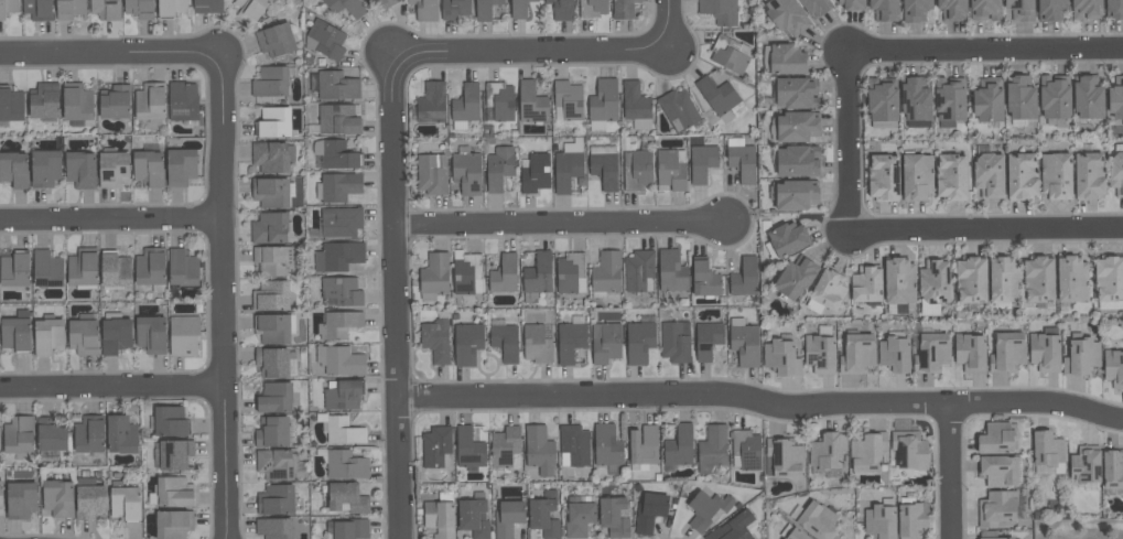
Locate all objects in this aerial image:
building: (382, 3)
building: (852, 4)
building: (207, 7)
building: (346, 7)
building: (816, 7)
building: (8, 8)
building: (139, 8)
building: (171, 8)
building: (519, 8)
building: (37, 9)
building: (69, 9)
building: (106, 9)
building: (424, 9)
building: (454, 9)
building: (485, 9)
building: (561, 9)
building: (592, 9)
building: (623, 9)
building: (951, 9)
building: (1087, 9)
building: (1114, 9)
building: (250, 10)
building: (884, 10)
building: (914, 10)
building: (984, 10)
building: (1021, 10)
building: (1051, 10)
building: (719, 11)
building: (786, 15)
road: (670, 25)
building: (276, 40)
building: (325, 40)
road: (985, 50)
road: (529, 51)
road: (110, 54)
building: (730, 54)
building: (785, 60)
building: (271, 82)
building: (334, 85)
building: (797, 93)
building: (720, 97)
building: (1088, 97)
building: (1115, 98)
building: (987, 99)
building: (1021, 99)
building: (1055, 99)
building: (568, 100)
building: (45, 101)
building: (115, 101)
building: (150, 101)
building: (182, 101)
building: (499, 101)
building: (915, 101)
building: (949, 101)
building: (432, 103)
building: (883, 103)
building: (11, 104)
building: (76, 104)
building: (532, 104)
building: (603, 104)
building: (636, 105)
building: (465, 107)
building: (678, 110)
building: (338, 119)
building: (274, 121)
building: (797, 126)
road: (846, 144)
building: (335, 154)
building: (272, 157)
building: (741, 159)
building: (796, 161)
building: (702, 162)
building: (568, 165)
building: (603, 165)
building: (148, 168)
building: (180, 168)
building: (499, 168)
building: (45, 169)
building: (112, 169)
building: (671, 169)
building: (14, 170)
building: (637, 170)
building: (80, 171)
building: (431, 173)
building: (467, 173)
building: (534, 173)
building: (1116, 173)
building: (989, 175)
building: (1089, 175)
building: (916, 176)
building: (951, 176)
building: (1022, 176)
building: (1056, 176)
building: (884, 177)
building: (337, 187)
building: (271, 192)
building: (793, 194)
building: (341, 222)
road: (110, 223)
road: (564, 225)
building: (270, 228)
road: (989, 230)
building: (786, 240)
building: (338, 256)
building: (272, 260)
building: (83, 268)
building: (151, 268)
building: (182, 268)
building: (15, 269)
building: (46, 270)
building: (115, 270)
building: (639, 271)
building: (671, 271)
building: (466, 273)
building: (570, 273)
building: (605, 273)
building: (504, 274)
building: (434, 276)
building: (537, 277)
building: (745, 278)
building: (1038, 278)
building: (795, 279)
building: (971, 279)
building: (704, 280)
building: (1071, 281)
building: (1109, 281)
building: (1004, 282)
building: (866, 284)
building: (899, 285)
building: (933, 285)
building: (341, 292)
building: (827, 292)
road: (399, 293)
building: (272, 295)
road: (223, 297)
building: (339, 324)
building: (274, 328)
building: (17, 332)
building: (116, 334)
building: (151, 334)
building: (47, 335)
building: (84, 335)
building: (184, 335)
building: (571, 339)
building: (639, 339)
building: (706, 339)
building: (436, 341)
building: (505, 342)
building: (676, 342)
building: (744, 342)
building: (467, 343)
building: (605, 343)
building: (536, 344)
building: (820, 351)
building: (1045, 351)
building: (970, 352)
building: (856, 353)
building: (895, 353)
building: (931, 353)
building: (1007, 353)
building: (1081, 355)
building: (781, 358)
building: (341, 360)
building: (273, 362)
building: (1113, 367)
road: (112, 387)
building: (343, 395)
building: (277, 398)
road: (763, 403)
building: (169, 422)
building: (342, 430)
building: (272, 432)
building: (19, 434)
building: (89, 434)
building: (121, 435)
building: (51, 439)
building: (998, 439)
building: (573, 445)
building: (679, 445)
building: (436, 448)
building: (506, 448)
building: (607, 448)
building: (643, 448)
building: (469, 449)
building: (712, 449)
building: (539, 450)
building: (745, 450)
building: (909, 450)
building: (1047, 453)
building: (174, 454)
building: (828, 454)
building: (870, 455)
building: (784, 457)
building: (277, 464)
building: (343, 464)
building: (1084, 467)
building: (1112, 468)
building: (997, 471)
road: (949, 472)
building: (172, 493)
building: (57, 497)
building: (1, 498)
building: (346, 498)
building: (21, 499)
building: (89, 499)
building: (125, 500)
building: (276, 500)
building: (996, 508)
building: (706, 509)
building: (649, 510)
building: (543, 515)
building: (441, 516)
building: (474, 516)
building: (580, 516)
building: (614, 517)
building: (508, 518)
building: (913, 518)
building: (814, 519)
building: (881, 520)
building: (173, 524)
building: (737, 527)
building: (274, 528)
building: (347, 529)
building: (792, 533)
building: (990, 535)

